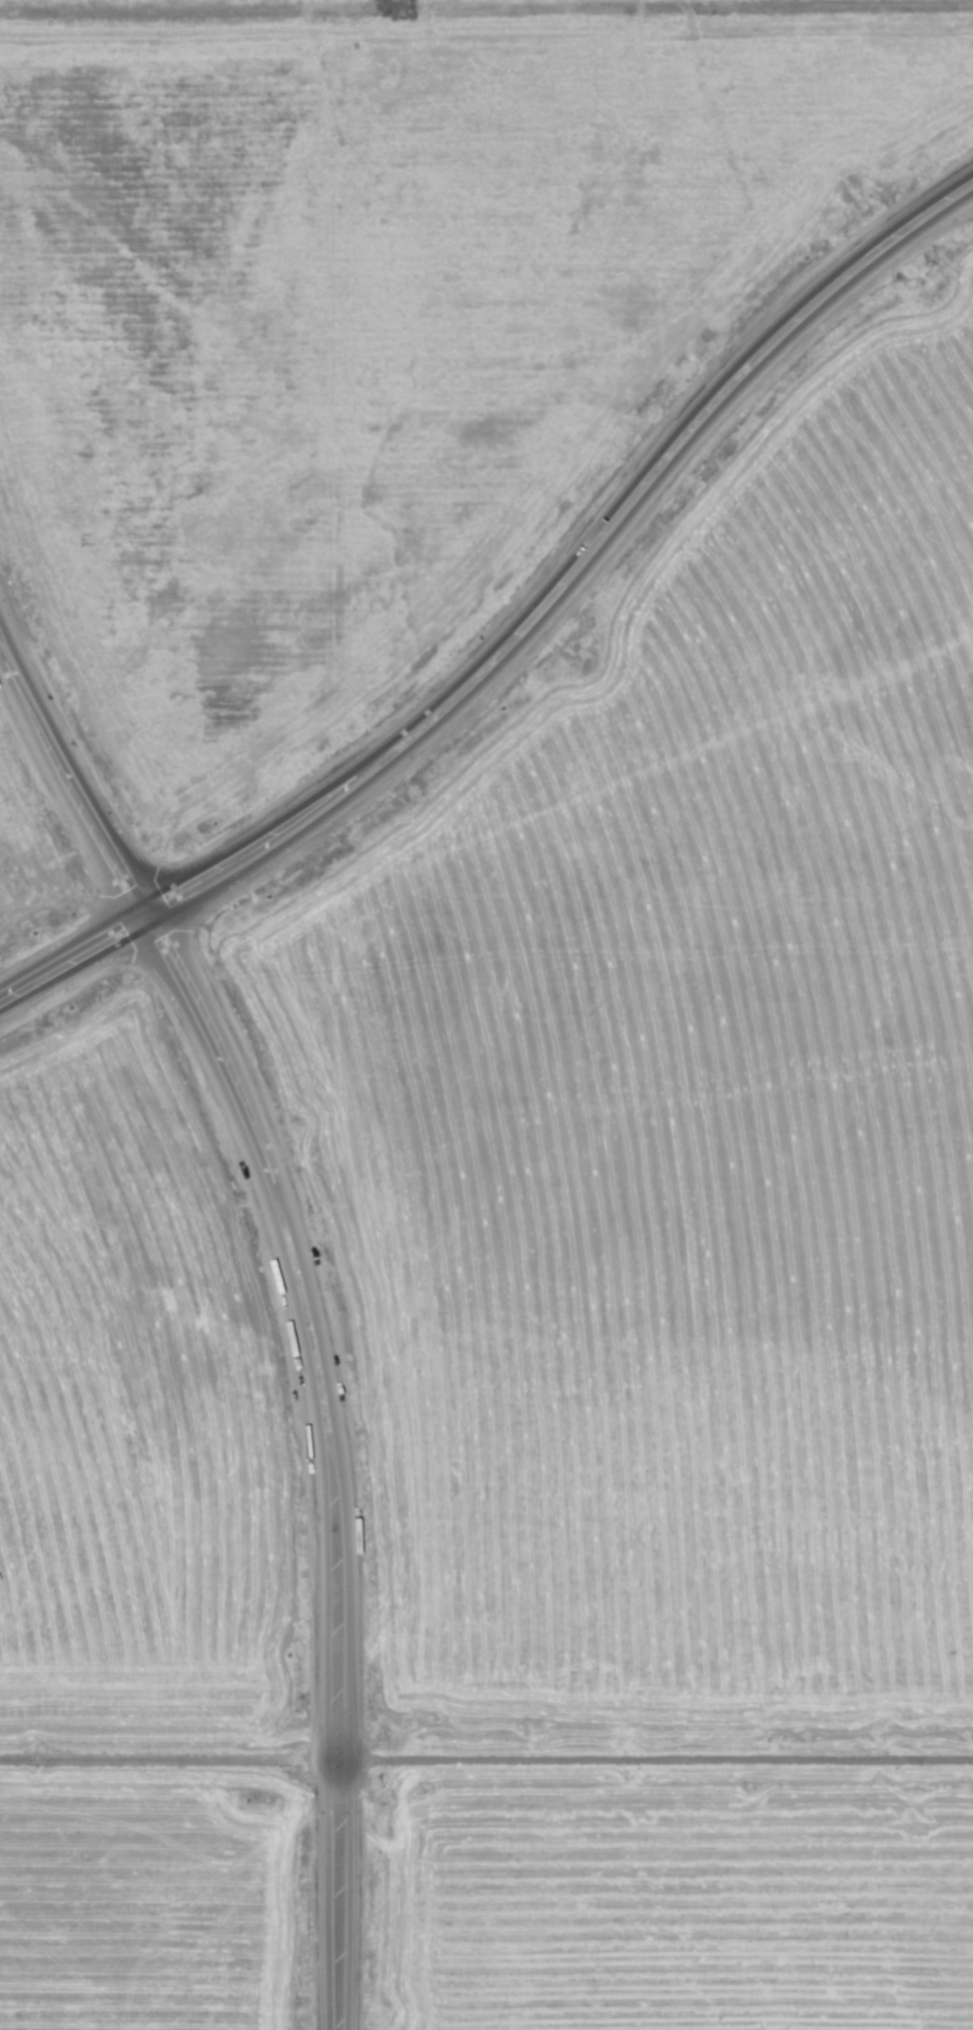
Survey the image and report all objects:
road: (516, 605)
road: (523, 647)
road: (316, 1290)
road: (298, 1313)
railway: (486, 1749)
road: (662, 1761)
road: (164, 1763)

